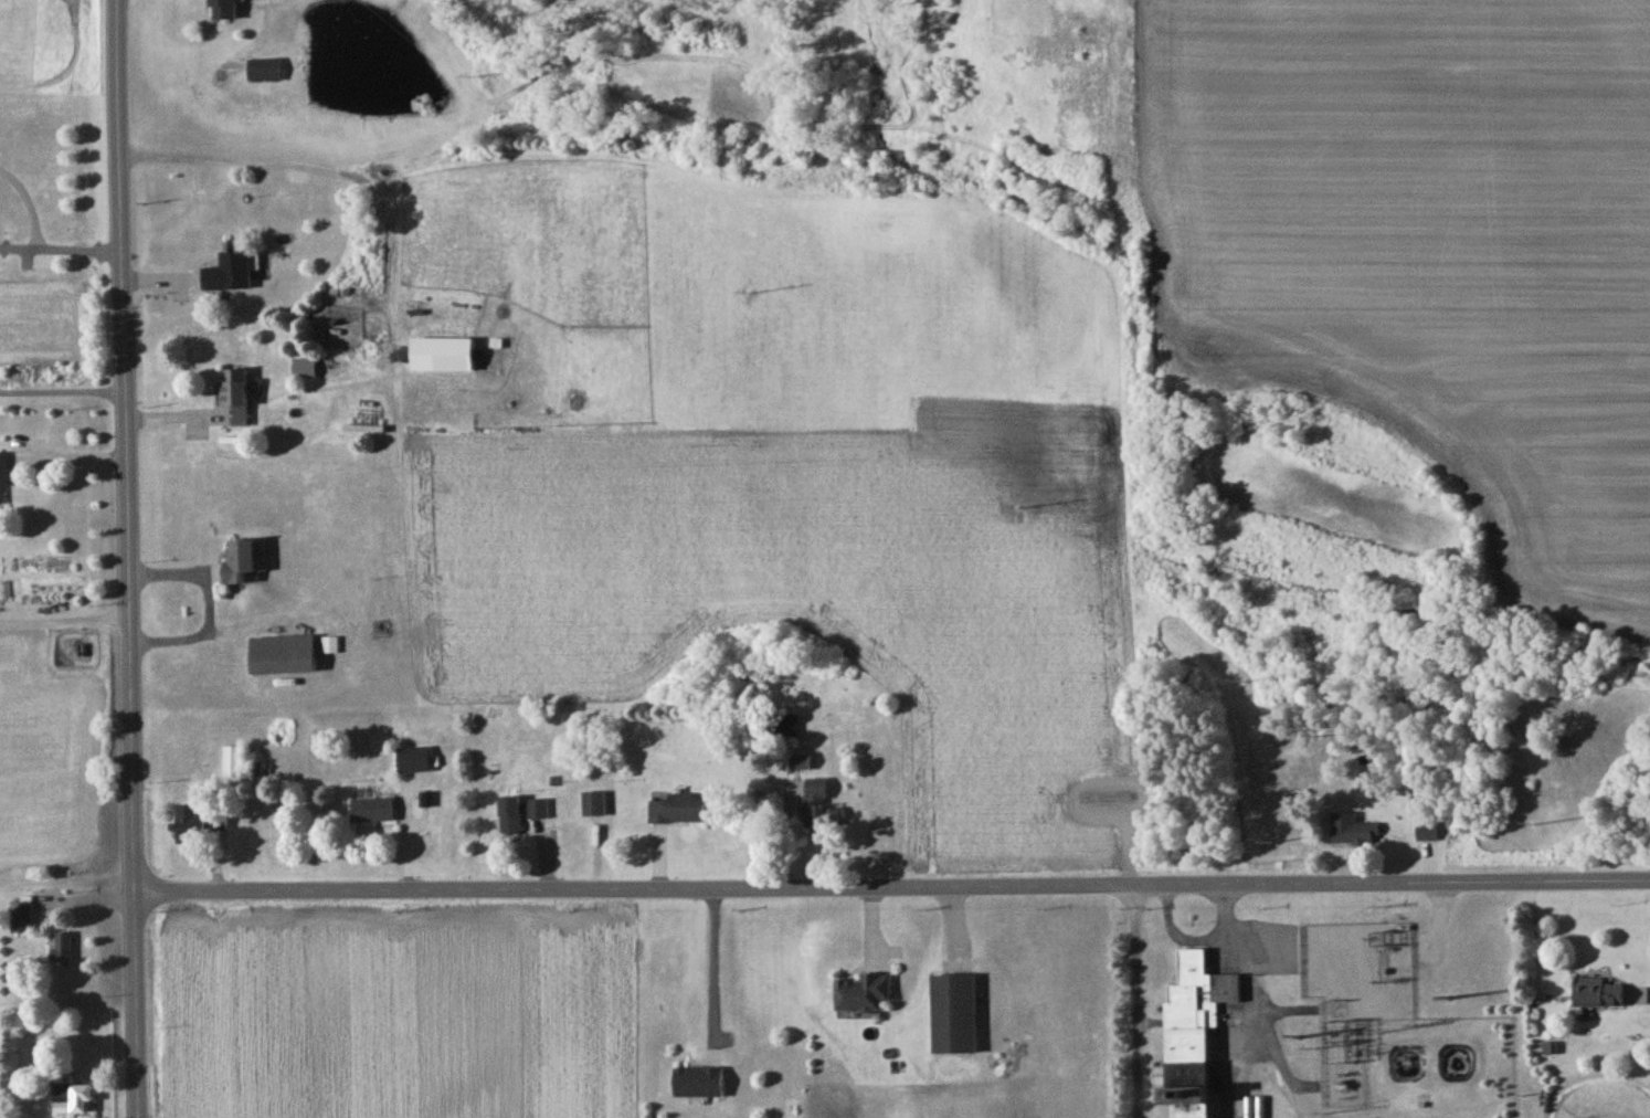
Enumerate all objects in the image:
building: (224, 11)
building: (266, 73)
road: (62, 235)
building: (230, 276)
road: (314, 283)
building: (304, 371)
road: (63, 390)
building: (234, 400)
road: (67, 460)
building: (3, 482)
road: (128, 558)
building: (239, 563)
road: (207, 593)
road: (64, 607)
building: (282, 657)
building: (413, 763)
building: (233, 764)
building: (594, 806)
building: (819, 810)
building: (537, 811)
building: (677, 812)
building: (372, 813)
building: (509, 819)
building: (189, 827)
building: (1428, 835)
building: (1361, 837)
road: (66, 892)
road: (891, 892)
building: (22, 921)
building: (64, 952)
road: (716, 966)
building: (864, 996)
building: (1600, 996)
power substation: (1356, 998)
road: (1136, 1004)
building: (954, 1017)
building: (1192, 1037)
building: (699, 1085)
building: (72, 1103)

